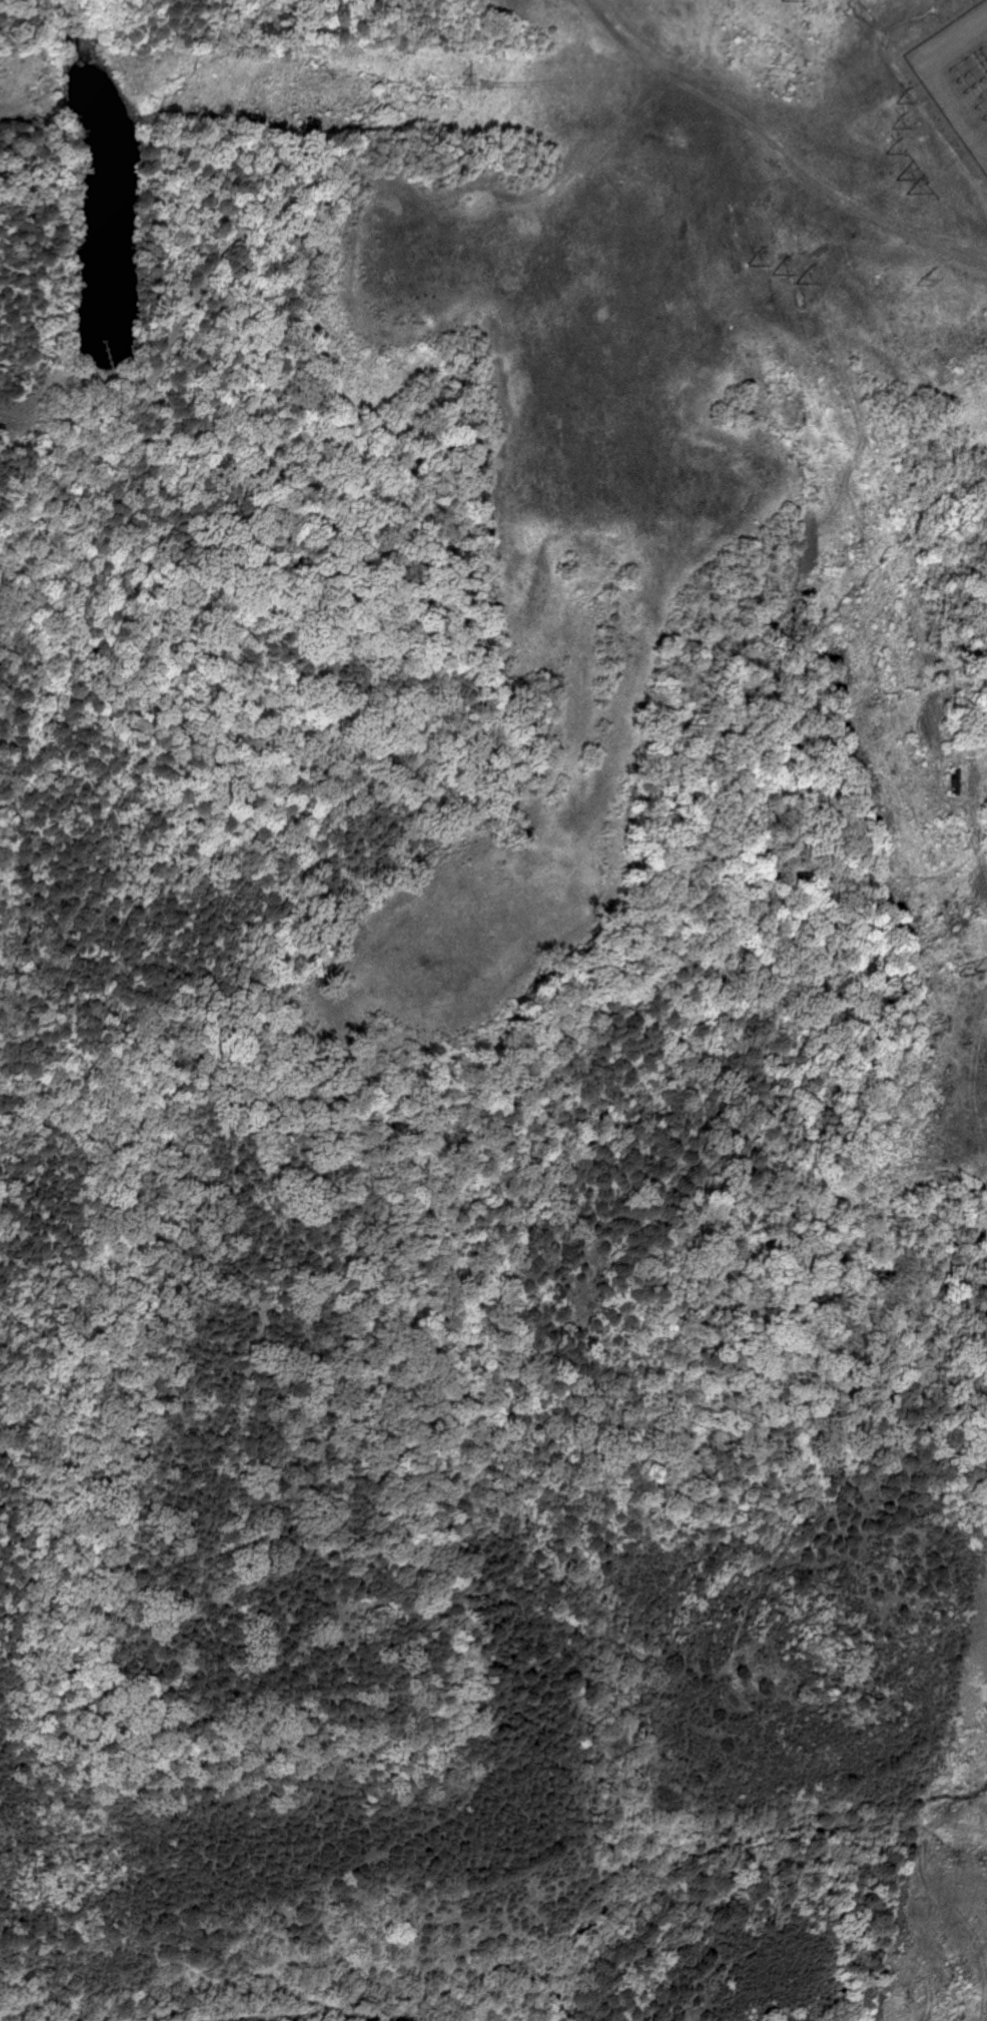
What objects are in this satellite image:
power tower: (766, 75)
power substation: (957, 76)
power tower: (462, 79)
power tower: (892, 126)
power tower: (900, 182)
power tower: (773, 274)
power tower: (918, 279)
power tower: (965, 969)
road: (735, 1838)
road: (337, 2015)

